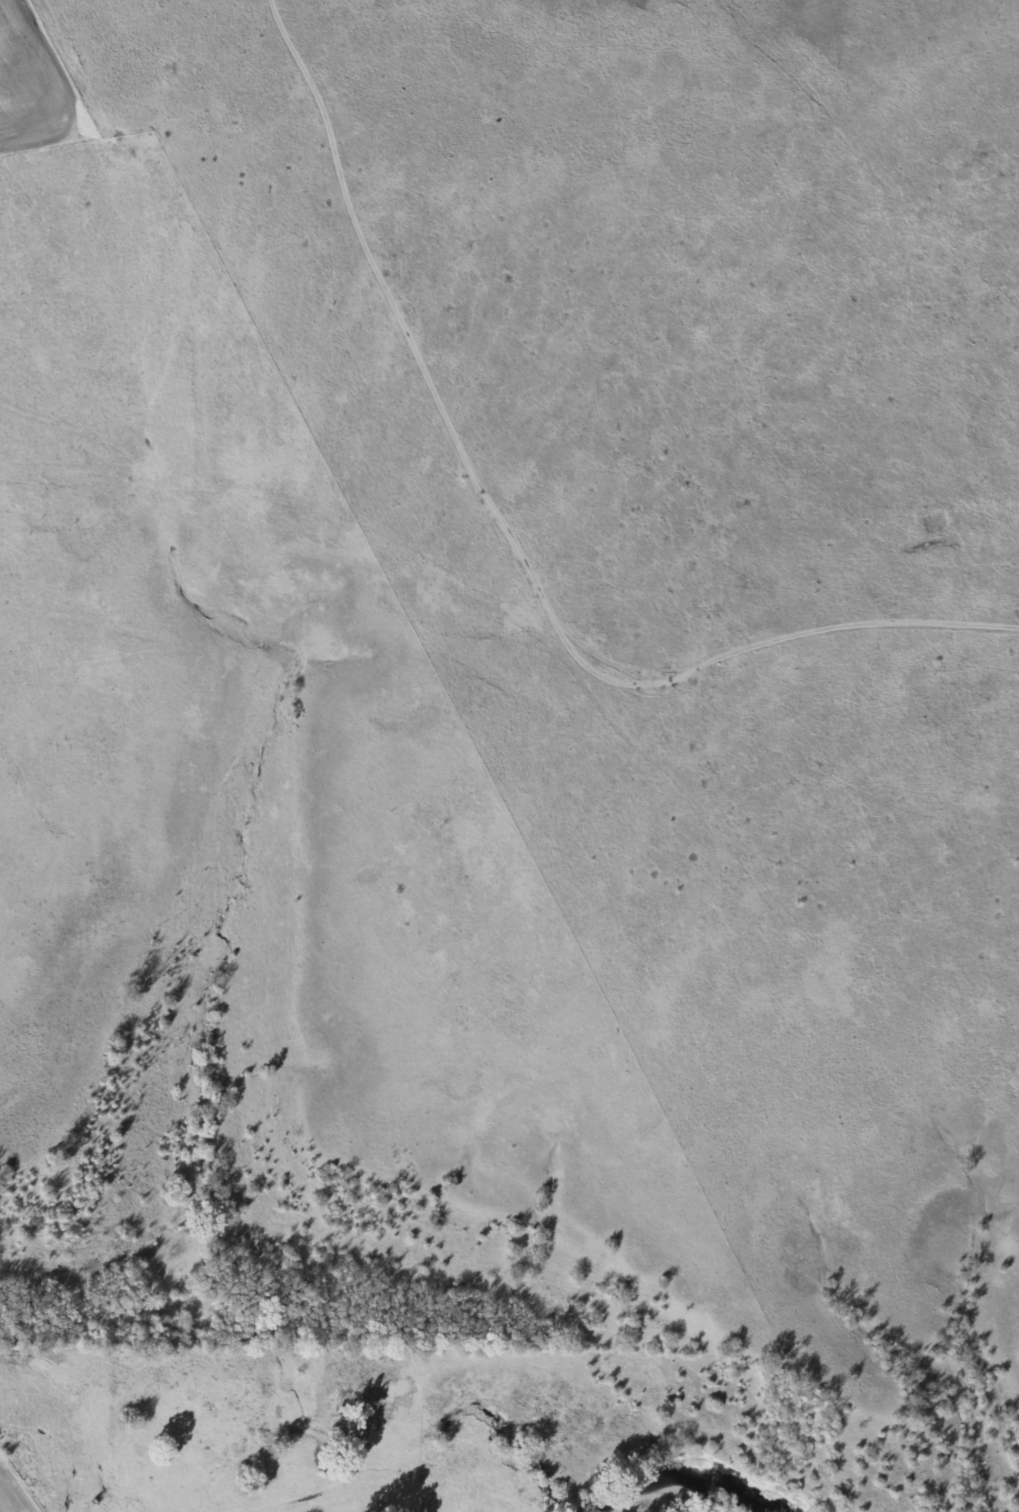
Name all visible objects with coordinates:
river: (696, 1471)

